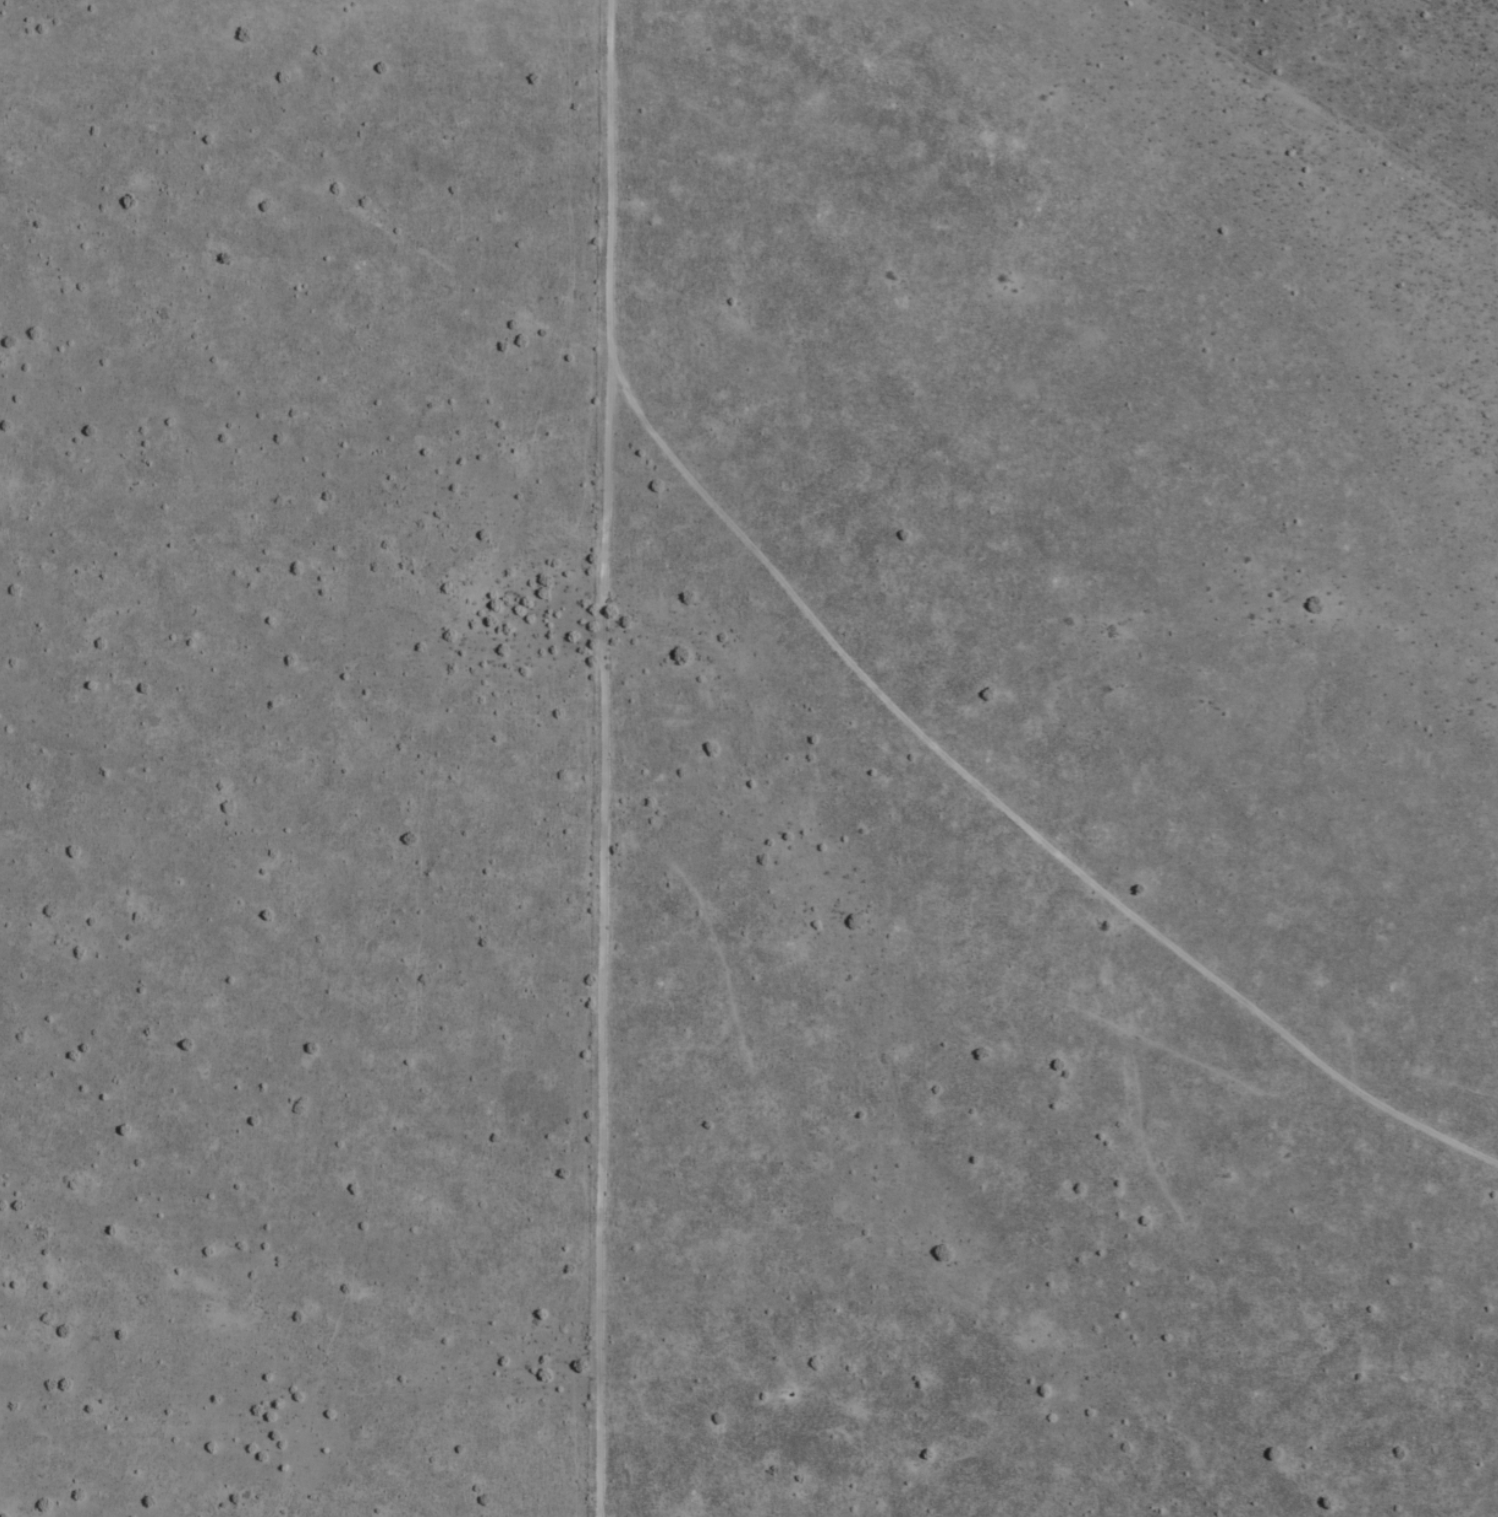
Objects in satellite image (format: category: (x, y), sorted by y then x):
road: (903, 669)

